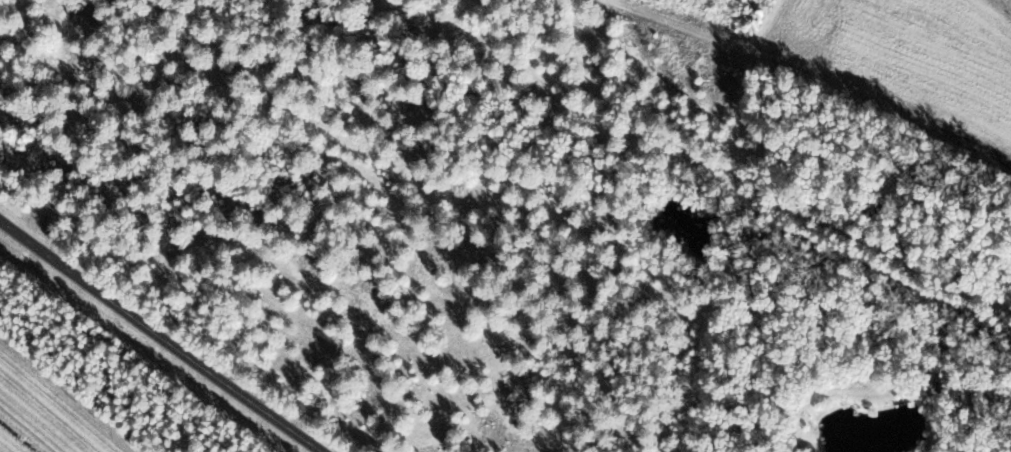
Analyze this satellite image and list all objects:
road: (740, 227)
road: (162, 338)

